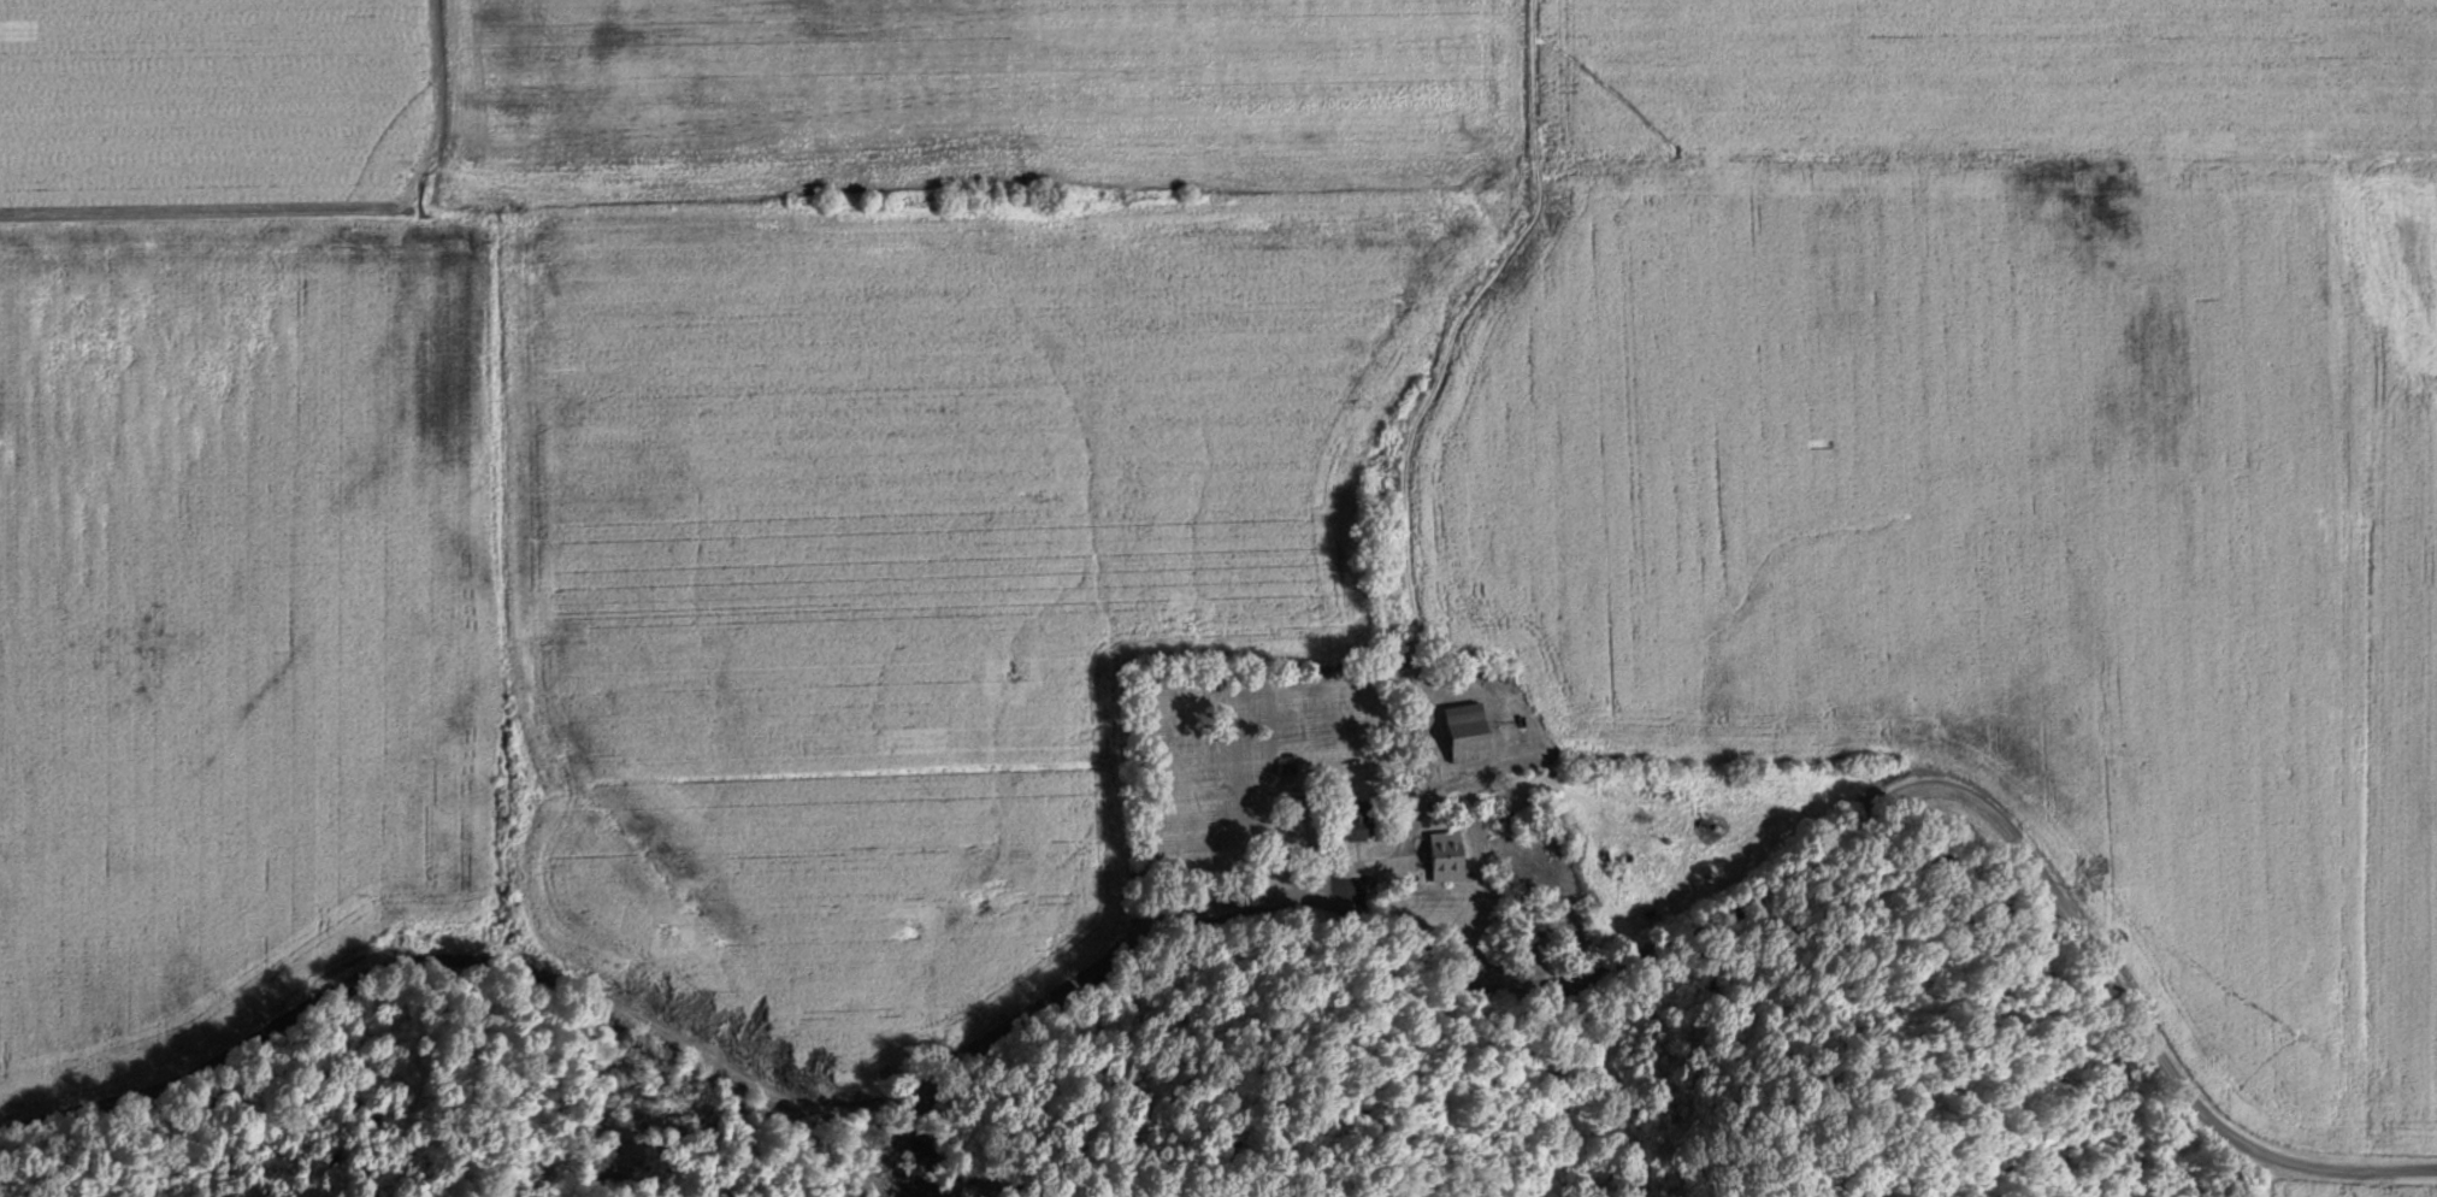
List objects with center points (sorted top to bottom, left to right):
building: (1469, 730)
building: (1358, 818)
building: (1447, 854)
road: (1281, 902)

